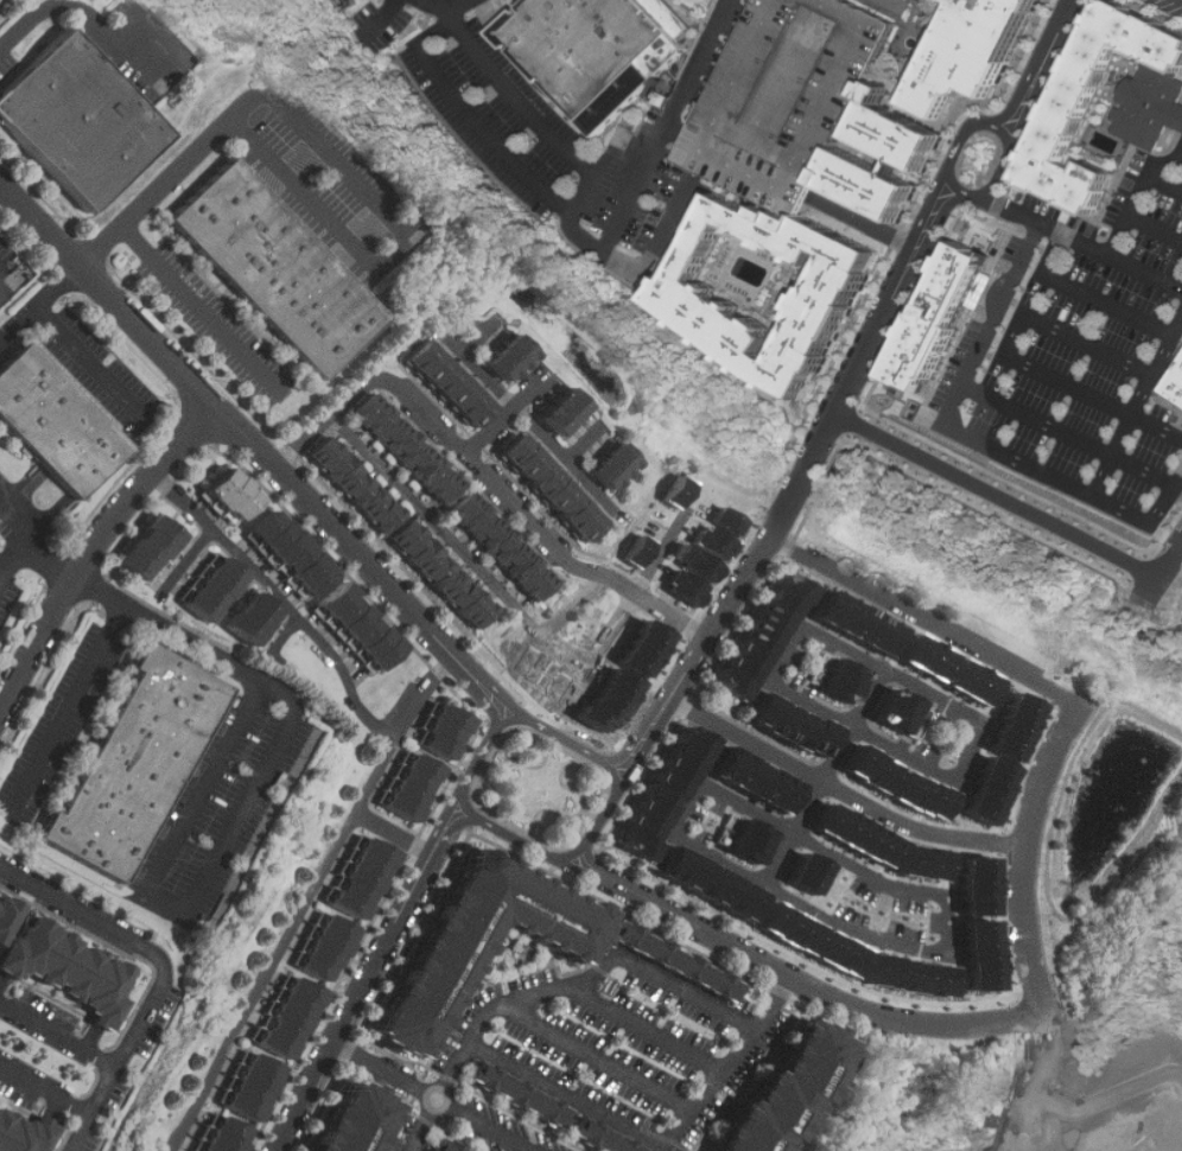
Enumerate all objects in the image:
road: (1174, 4)
road: (440, 8)
road: (465, 8)
road: (385, 17)
road: (90, 19)
road: (445, 21)
building: (592, 45)
building: (980, 49)
road: (1041, 65)
building: (793, 95)
parking lot: (793, 95)
building: (1155, 109)
building: (80, 119)
road: (682, 135)
building: (895, 135)
road: (662, 146)
road: (336, 154)
road: (1165, 182)
building: (872, 185)
road: (991, 187)
road: (1138, 195)
road: (866, 224)
road: (1156, 227)
road: (672, 237)
road: (1054, 252)
road: (1123, 259)
building: (277, 268)
building: (694, 292)
road: (196, 301)
road: (38, 303)
road: (1108, 304)
building: (947, 318)
road: (475, 333)
road: (1089, 343)
road: (88, 360)
building: (509, 360)
building: (1175, 383)
road: (1148, 384)
building: (446, 386)
road: (959, 393)
road: (1093, 396)
road: (510, 407)
road: (503, 412)
building: (561, 413)
road: (1040, 419)
building: (56, 424)
road: (252, 446)
building: (402, 449)
building: (614, 468)
road: (482, 475)
road: (1178, 479)
road: (801, 484)
building: (352, 485)
road: (1178, 485)
building: (547, 488)
building: (230, 496)
road: (1000, 496)
road: (1154, 517)
road: (430, 520)
road: (36, 539)
building: (502, 546)
road: (95, 547)
road: (19, 548)
building: (150, 549)
building: (288, 555)
road: (2, 558)
road: (188, 561)
building: (697, 564)
road: (2, 565)
road: (1174, 566)
building: (440, 574)
building: (212, 587)
road: (638, 590)
building: (256, 619)
road: (309, 623)
road: (924, 624)
building: (358, 630)
road: (282, 640)
building: (926, 655)
building: (738, 666)
building: (843, 679)
building: (973, 681)
road: (418, 694)
road: (65, 710)
building: (897, 710)
building: (1017, 725)
road: (496, 729)
building: (445, 732)
road: (566, 739)
road: (876, 739)
road: (479, 759)
road: (604, 762)
building: (136, 763)
road: (496, 764)
road: (498, 767)
building: (871, 767)
road: (472, 772)
road: (825, 776)
road: (1041, 788)
building: (415, 789)
building: (992, 790)
road: (843, 794)
building: (923, 794)
road: (579, 812)
road: (584, 813)
building: (641, 818)
road: (476, 819)
road: (599, 820)
road: (237, 822)
road: (395, 835)
building: (745, 835)
road: (514, 841)
road: (557, 844)
road: (584, 848)
building: (364, 879)
building: (4, 908)
road: (831, 920)
road: (288, 945)
building: (482, 946)
building: (330, 948)
building: (675, 961)
building: (66, 966)
road: (163, 973)
road: (369, 983)
road: (799, 983)
road: (687, 988)
building: (294, 1018)
road: (488, 1022)
road: (646, 1029)
road: (59, 1032)
parking lot: (623, 1044)
road: (598, 1057)
road: (730, 1066)
road: (1111, 1083)
road: (45, 1089)
building: (256, 1090)
road: (1038, 1090)
building: (790, 1092)
road: (436, 1096)
road: (570, 1096)
building: (555, 1112)
building: (360, 1123)
parking lot: (507, 1131)
building: (23, 1132)
building: (228, 1138)
building: (450, 1146)

